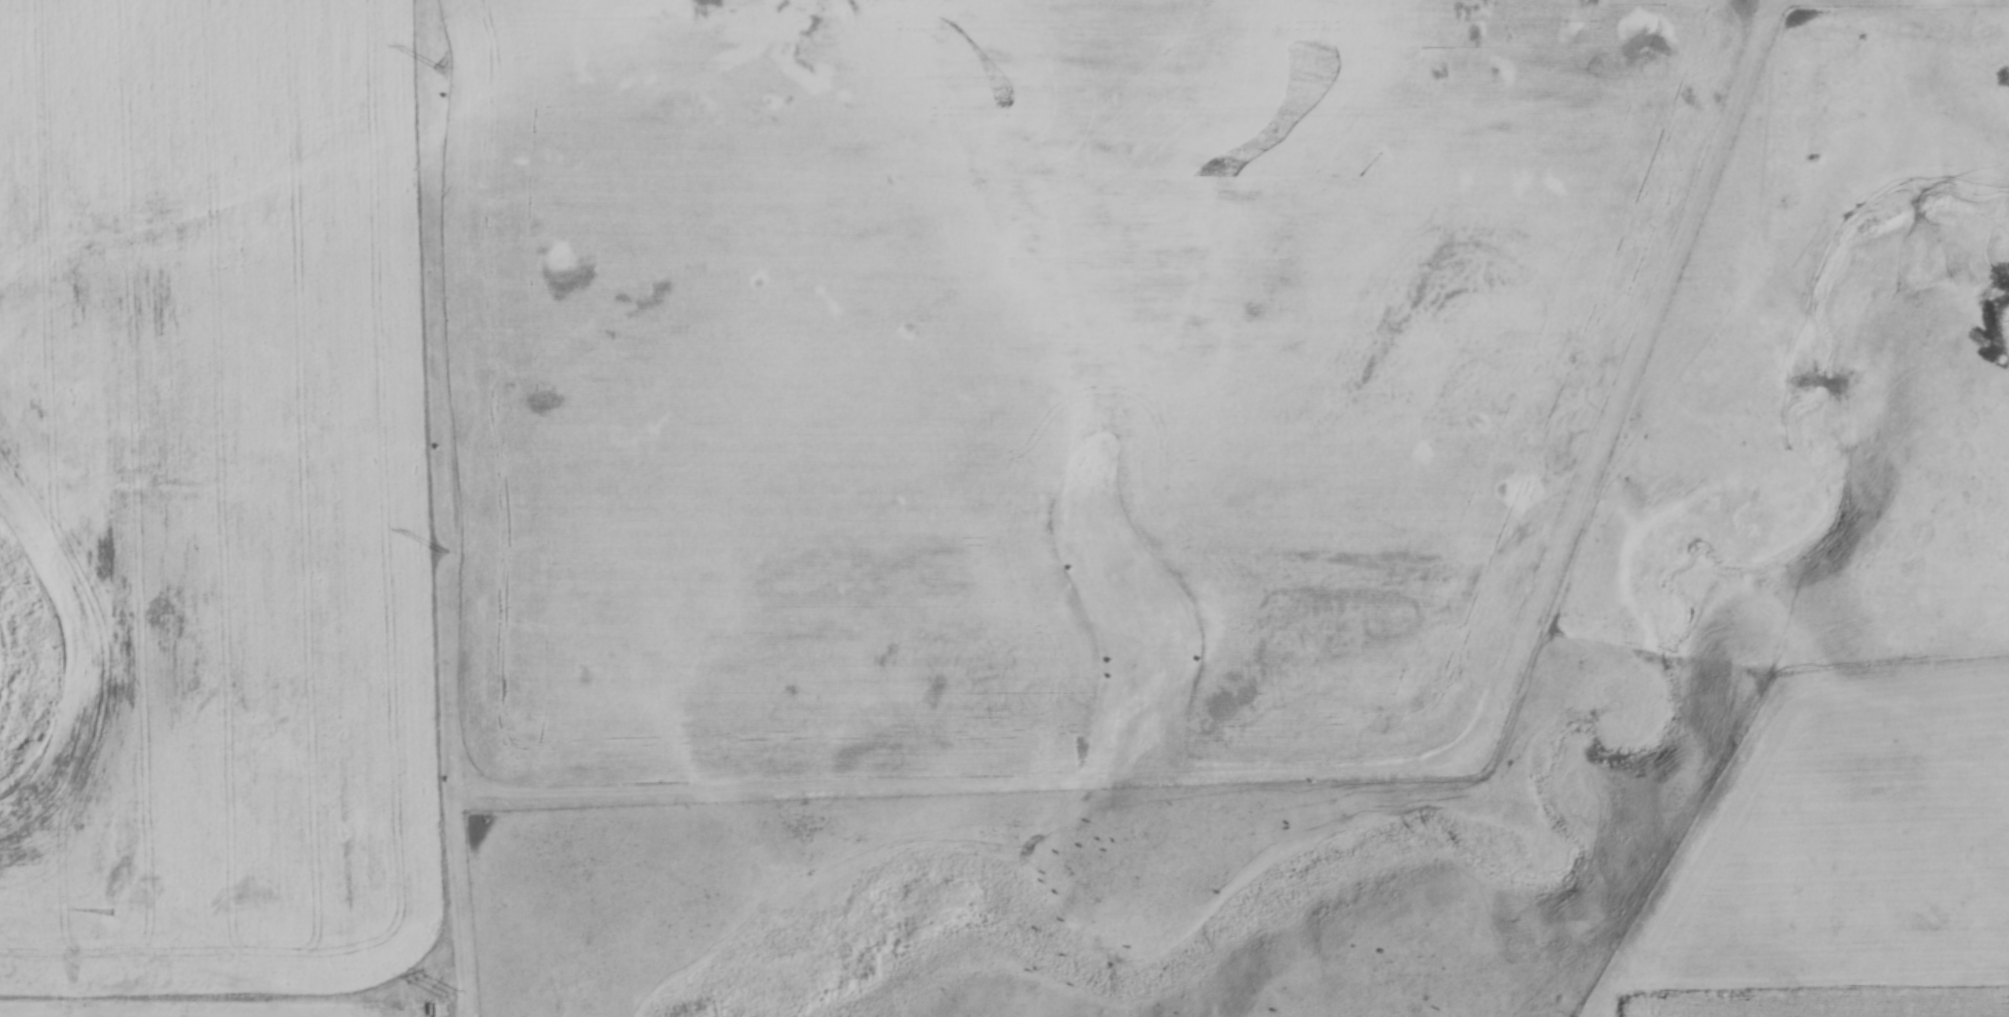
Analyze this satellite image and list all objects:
power tower: (438, 71)
power tower: (442, 554)
power tower: (446, 995)

